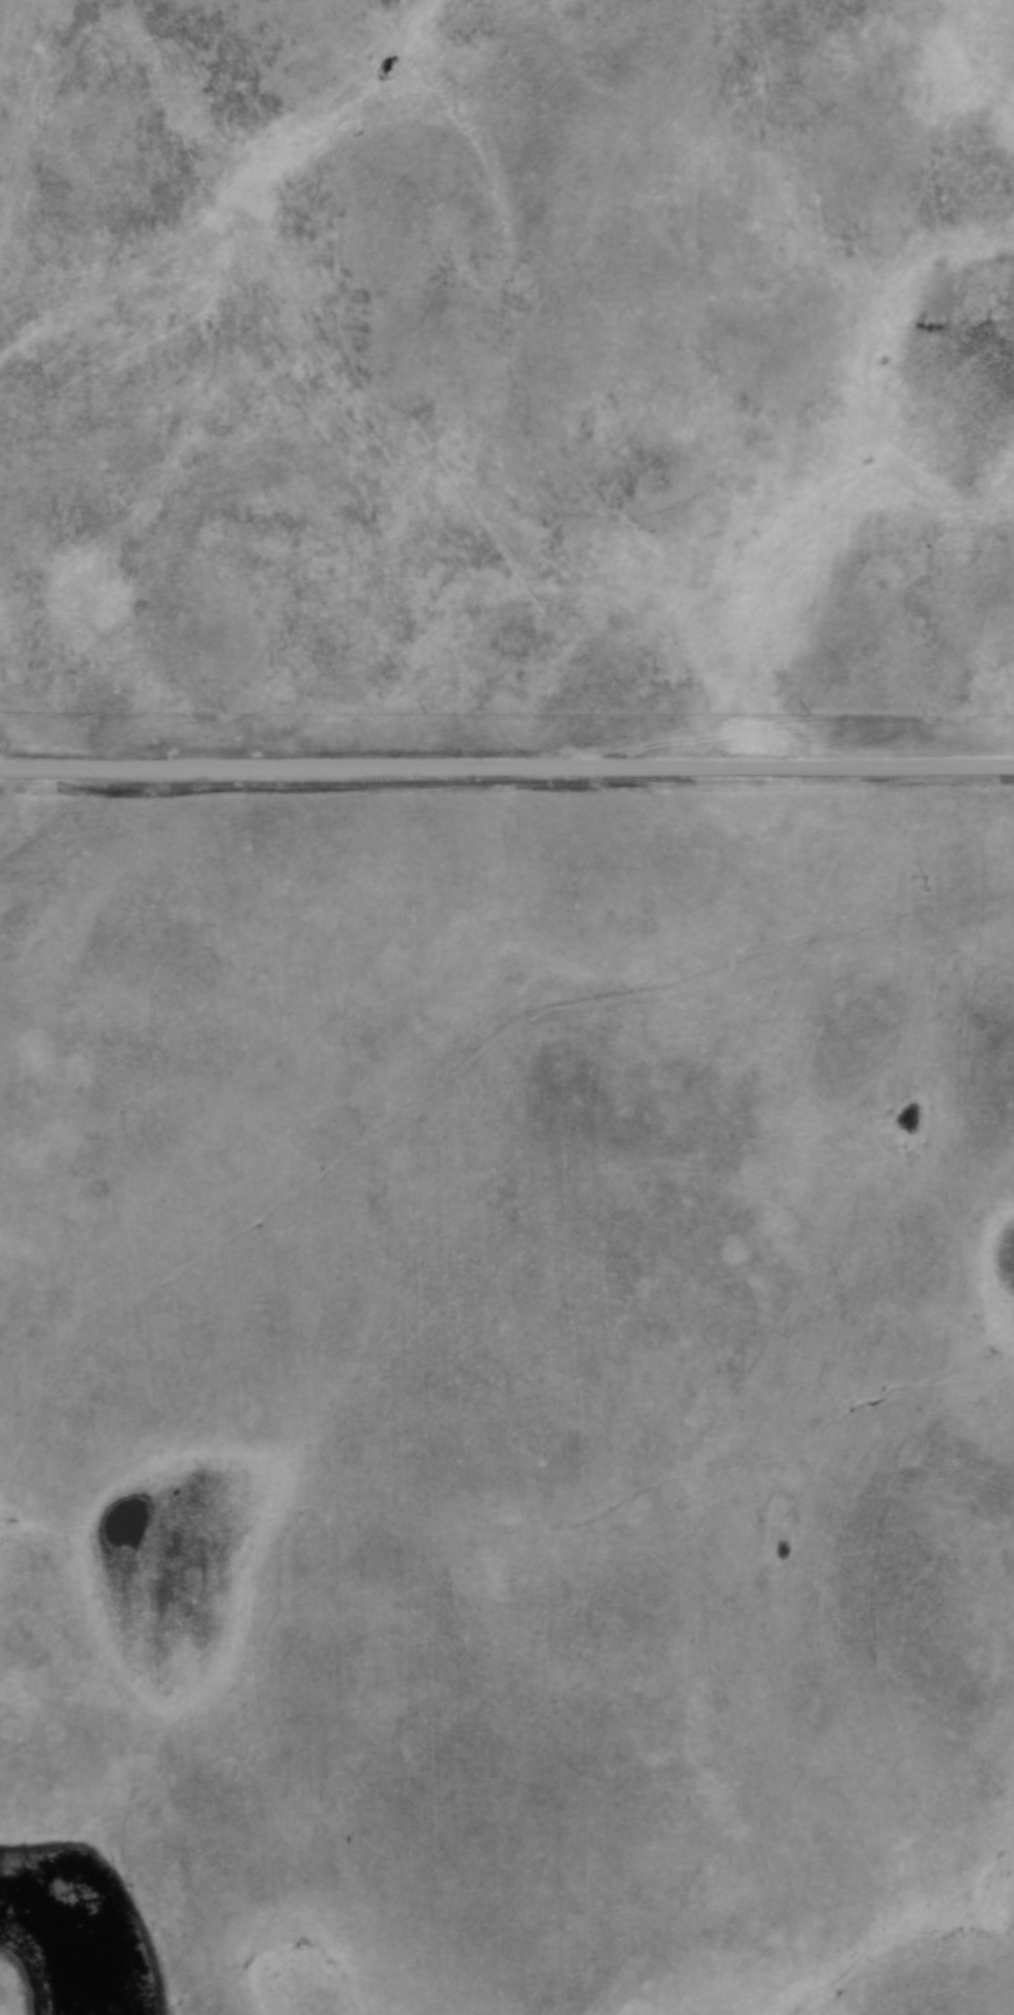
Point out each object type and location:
road: (507, 769)

